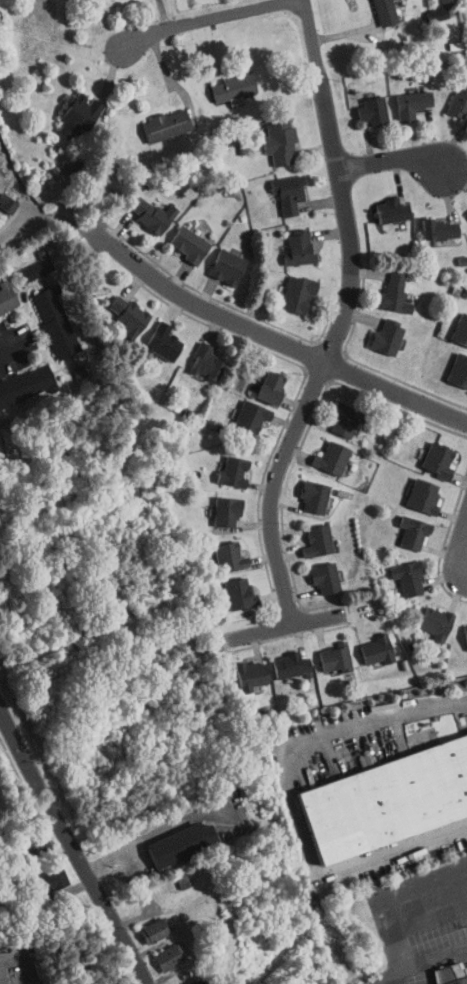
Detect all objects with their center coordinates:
building: (425, 8)
building: (374, 9)
road: (215, 20)
building: (222, 81)
building: (401, 97)
building: (452, 97)
building: (362, 105)
building: (66, 109)
building: (154, 119)
building: (268, 136)
road: (391, 159)
building: (277, 187)
building: (2, 198)
building: (380, 204)
building: (140, 208)
building: (463, 211)
road: (57, 215)
building: (428, 223)
building: (178, 238)
building: (287, 242)
building: (27, 260)
building: (216, 261)
building: (384, 286)
building: (287, 288)
building: (3, 296)
building: (117, 310)
building: (44, 316)
road: (345, 320)
building: (455, 324)
road: (251, 330)
building: (375, 332)
building: (152, 336)
road: (7, 343)
building: (195, 356)
building: (452, 365)
building: (20, 378)
building: (259, 382)
road: (433, 406)
building: (240, 411)
building: (332, 417)
building: (321, 452)
building: (426, 454)
building: (222, 466)
building: (303, 491)
building: (411, 491)
building: (215, 505)
building: (402, 526)
building: (306, 535)
road: (463, 537)
building: (218, 551)
building: (313, 572)
building: (397, 572)
building: (227, 587)
building: (425, 617)
road: (286, 625)
building: (460, 630)
building: (366, 644)
building: (324, 652)
building: (279, 659)
building: (240, 669)
building: (380, 790)
road: (292, 805)
road: (156, 833)
building: (168, 836)
road: (74, 842)
building: (38, 873)
road: (396, 914)
building: (143, 923)
building: (157, 950)
road: (422, 968)
building: (449, 974)
building: (176, 980)

